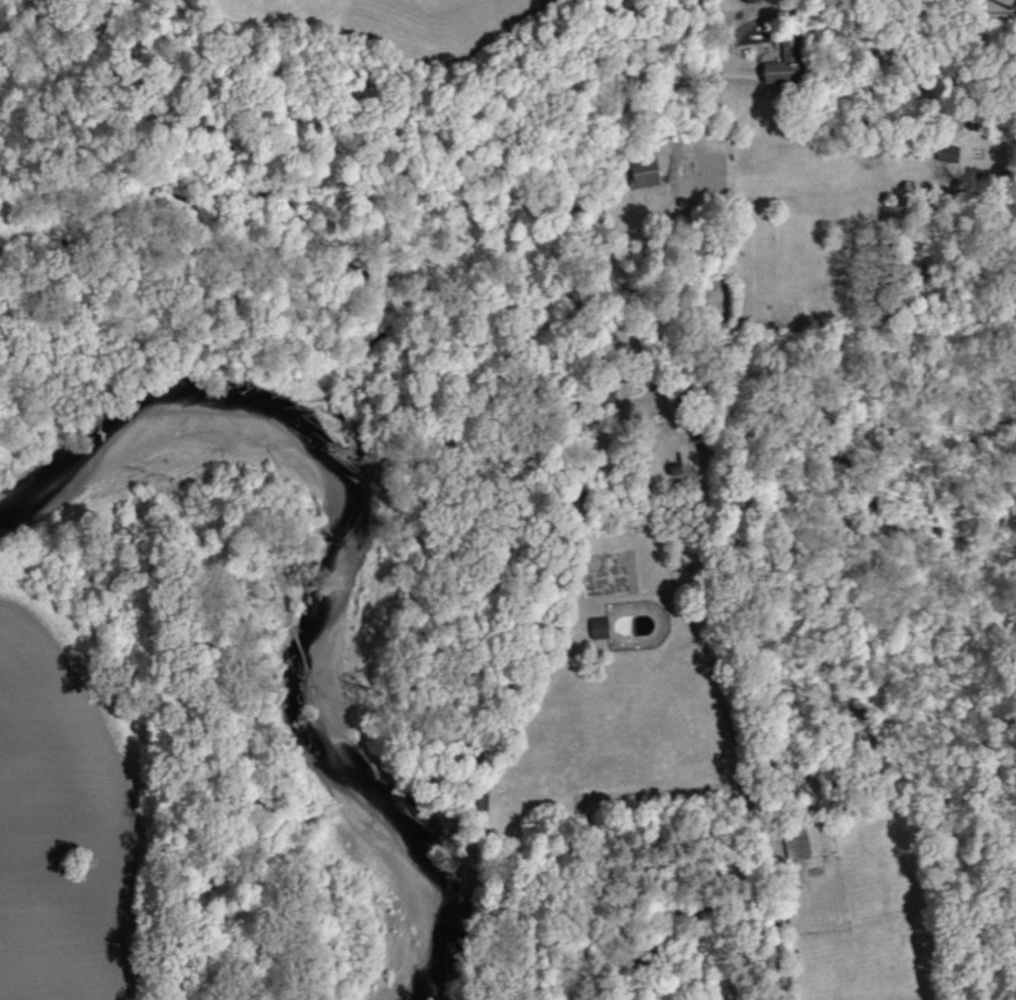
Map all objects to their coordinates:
building: (737, 0)
building: (785, 64)
building: (947, 153)
building: (643, 172)
road: (618, 426)
building: (599, 627)
building: (480, 799)
building: (808, 840)

